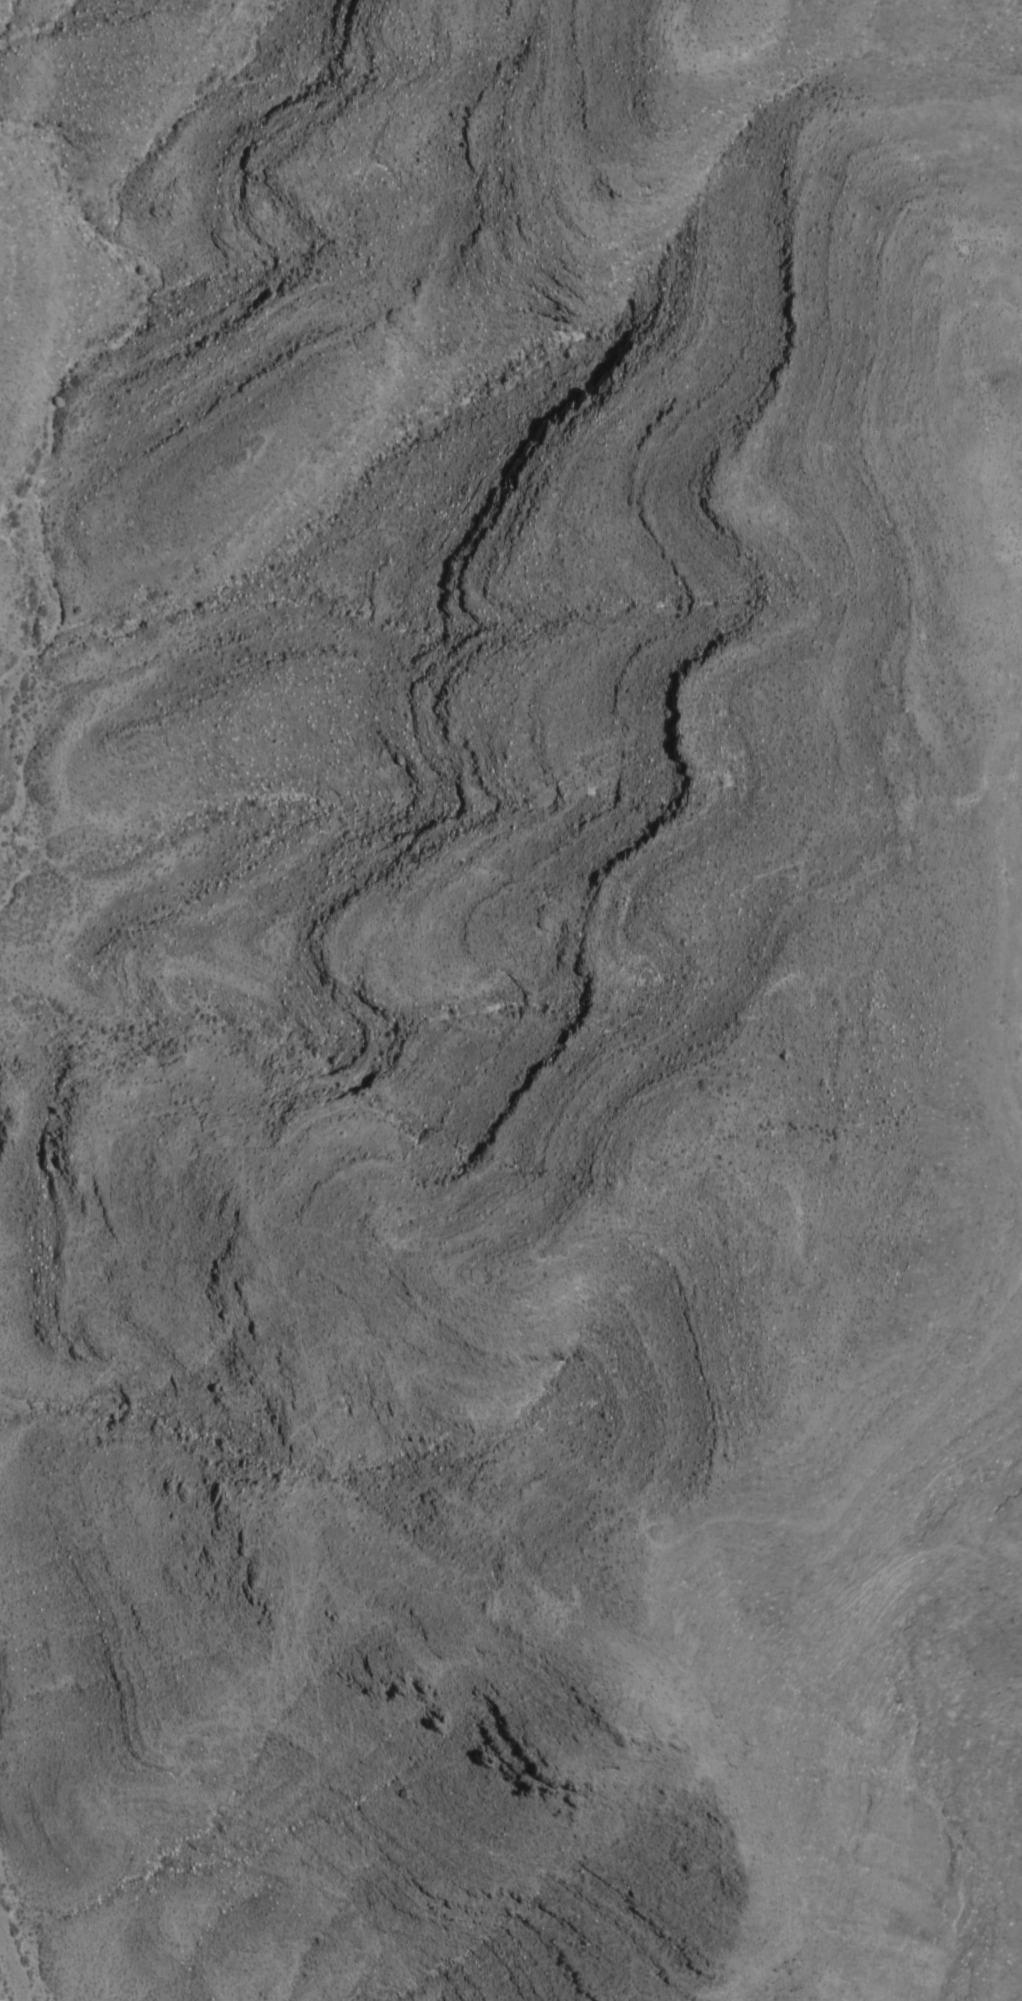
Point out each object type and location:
river: (14, 1963)

